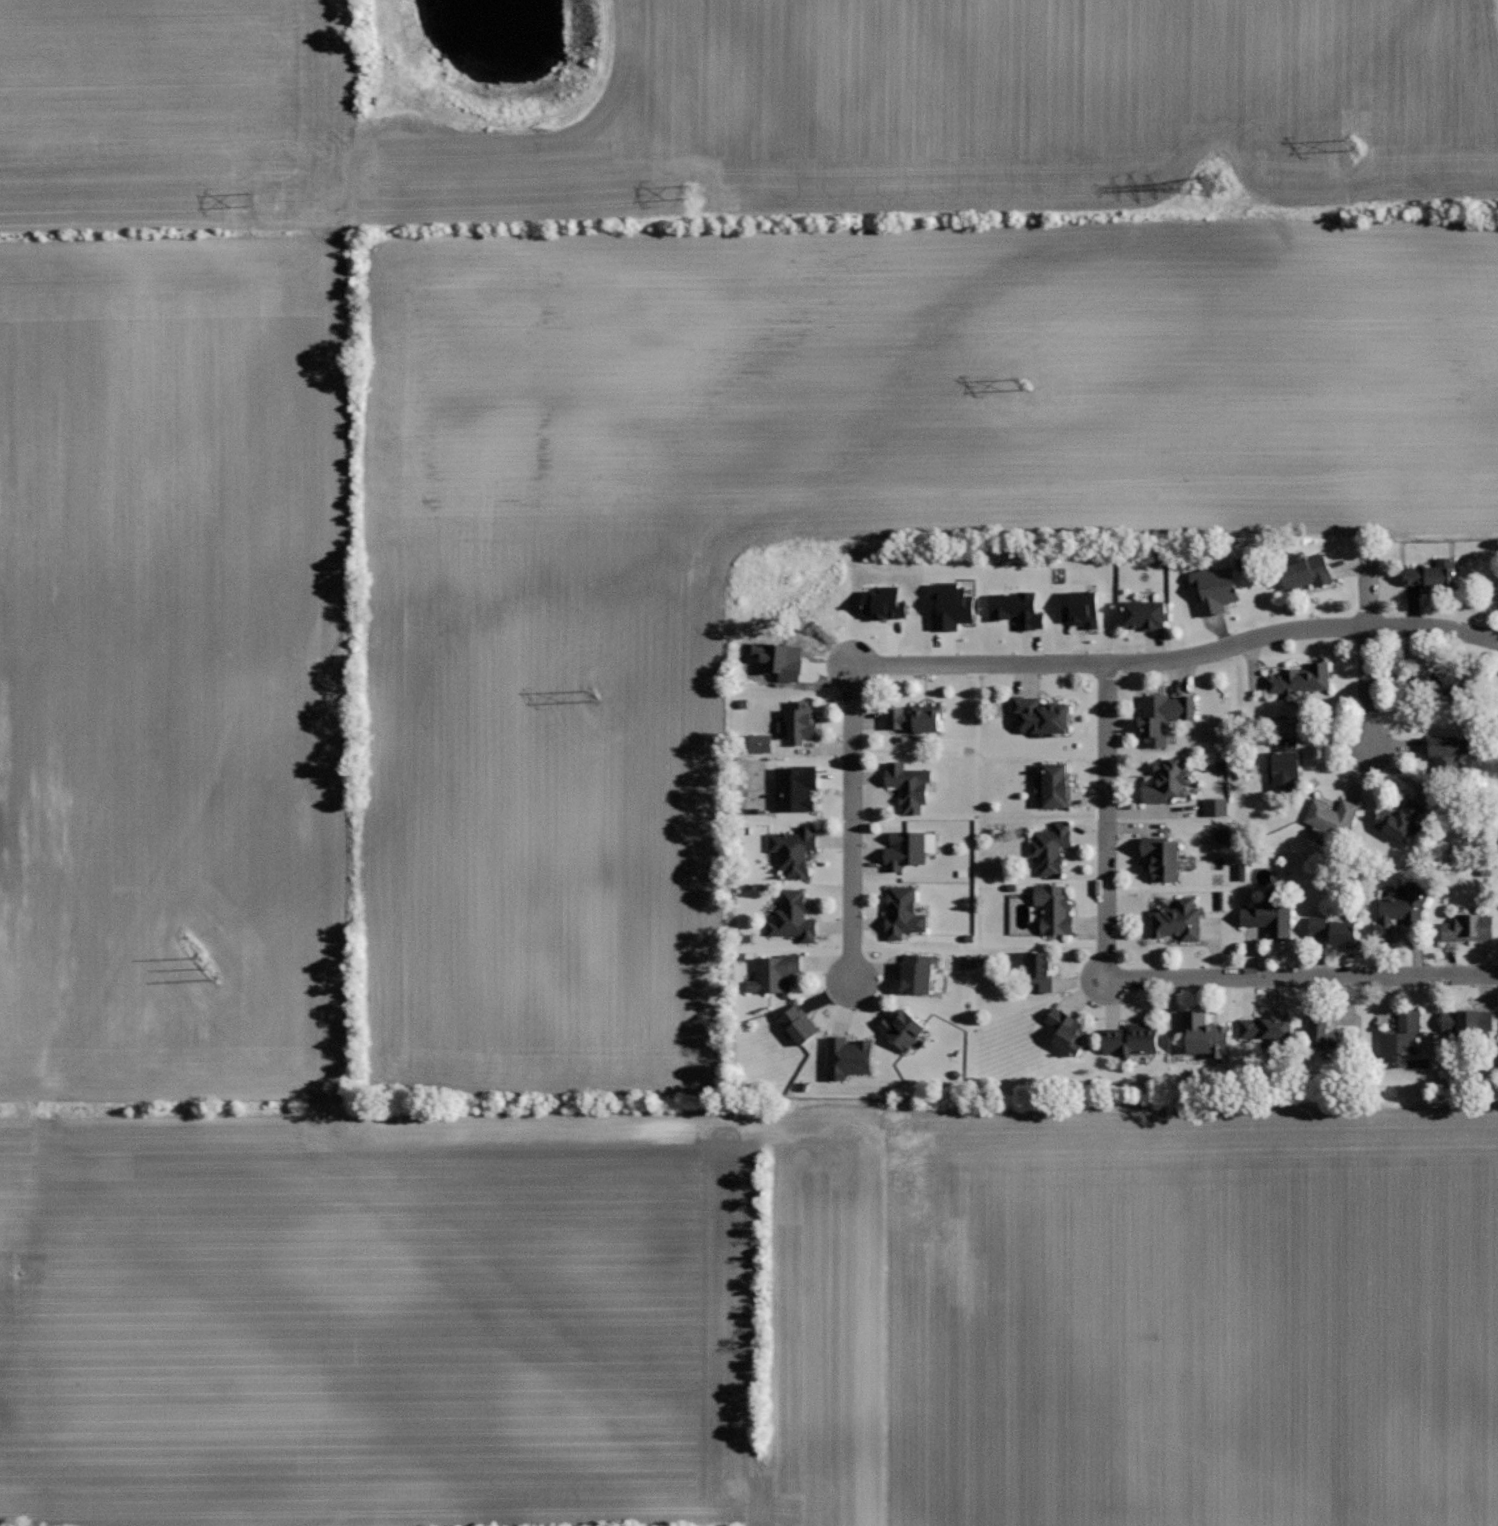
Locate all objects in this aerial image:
power tower: (1355, 145)
power tower: (1216, 184)
power tower: (687, 193)
power tower: (253, 199)
power tower: (1024, 384)
building: (1306, 572)
building: (1431, 573)
building: (1212, 589)
building: (1497, 593)
building: (883, 603)
building: (951, 605)
building: (1084, 608)
building: (1016, 609)
building: (1144, 612)
road: (1368, 650)
road: (1179, 659)
building: (1300, 679)
building: (1439, 687)
power tower: (598, 695)
building: (1041, 715)
building: (1164, 715)
building: (915, 717)
building: (800, 720)
building: (758, 744)
building: (1445, 755)
building: (1286, 764)
building: (1167, 780)
building: (908, 784)
building: (1053, 784)
building: (795, 788)
building: (1215, 806)
building: (1330, 815)
building: (1399, 819)
road: (1106, 821)
road: (851, 824)
building: (1051, 846)
building: (793, 849)
building: (905, 849)
building: (1162, 857)
building: (1055, 908)
building: (1400, 909)
building: (903, 912)
building: (1271, 915)
building: (793, 917)
building: (1178, 919)
building: (1468, 927)
building: (1333, 930)
building: (965, 963)
power tower: (208, 967)
building: (1039, 970)
building: (774, 972)
building: (917, 973)
road: (1302, 977)
building: (1467, 1021)
building: (798, 1023)
building: (902, 1028)
building: (1066, 1031)
building: (1267, 1031)
building: (1323, 1033)
building: (1402, 1033)
building: (1205, 1034)
building: (1131, 1039)
building: (847, 1056)

